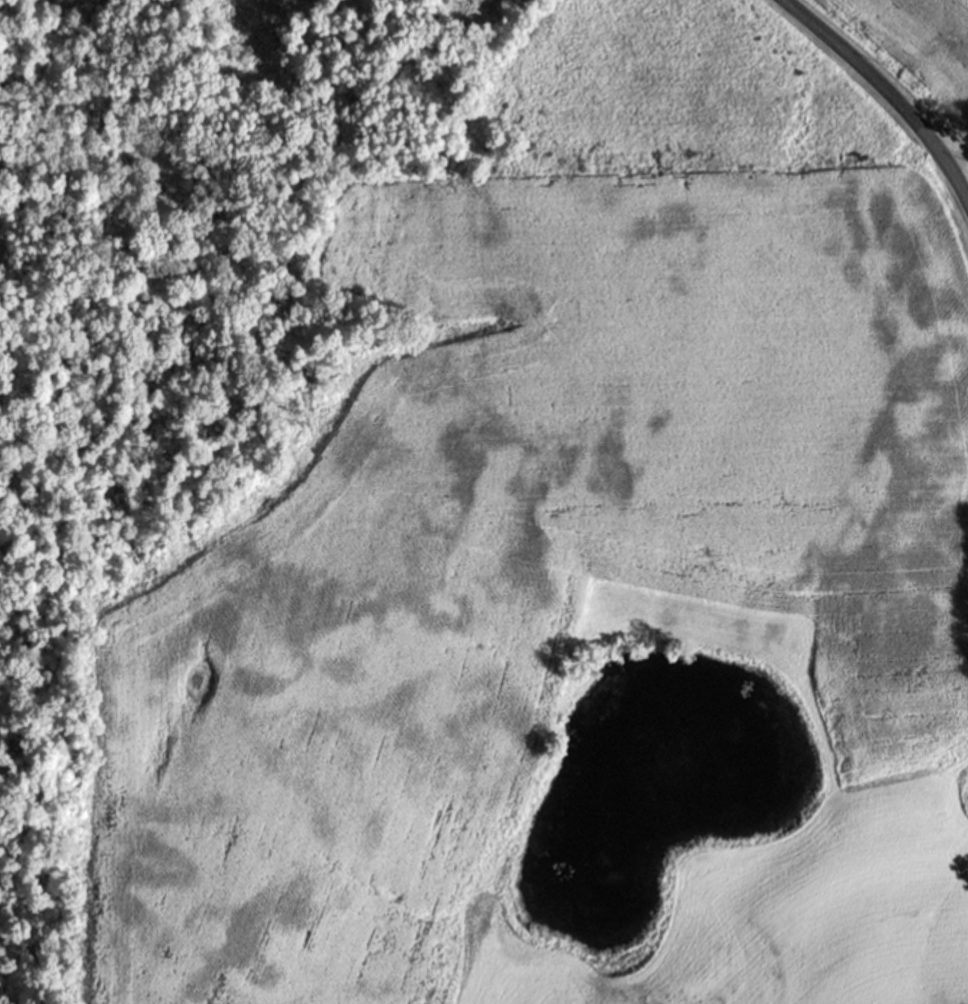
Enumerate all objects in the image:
road: (887, 94)
road: (956, 163)

